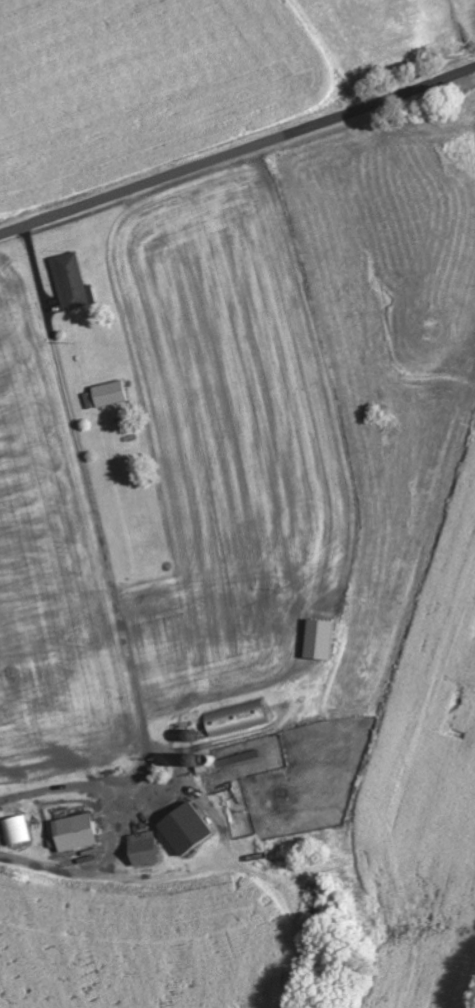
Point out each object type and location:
road: (238, 152)
building: (69, 282)
building: (109, 394)
building: (236, 717)
road: (41, 805)
building: (189, 830)
building: (15, 832)
building: (76, 833)
building: (145, 849)

